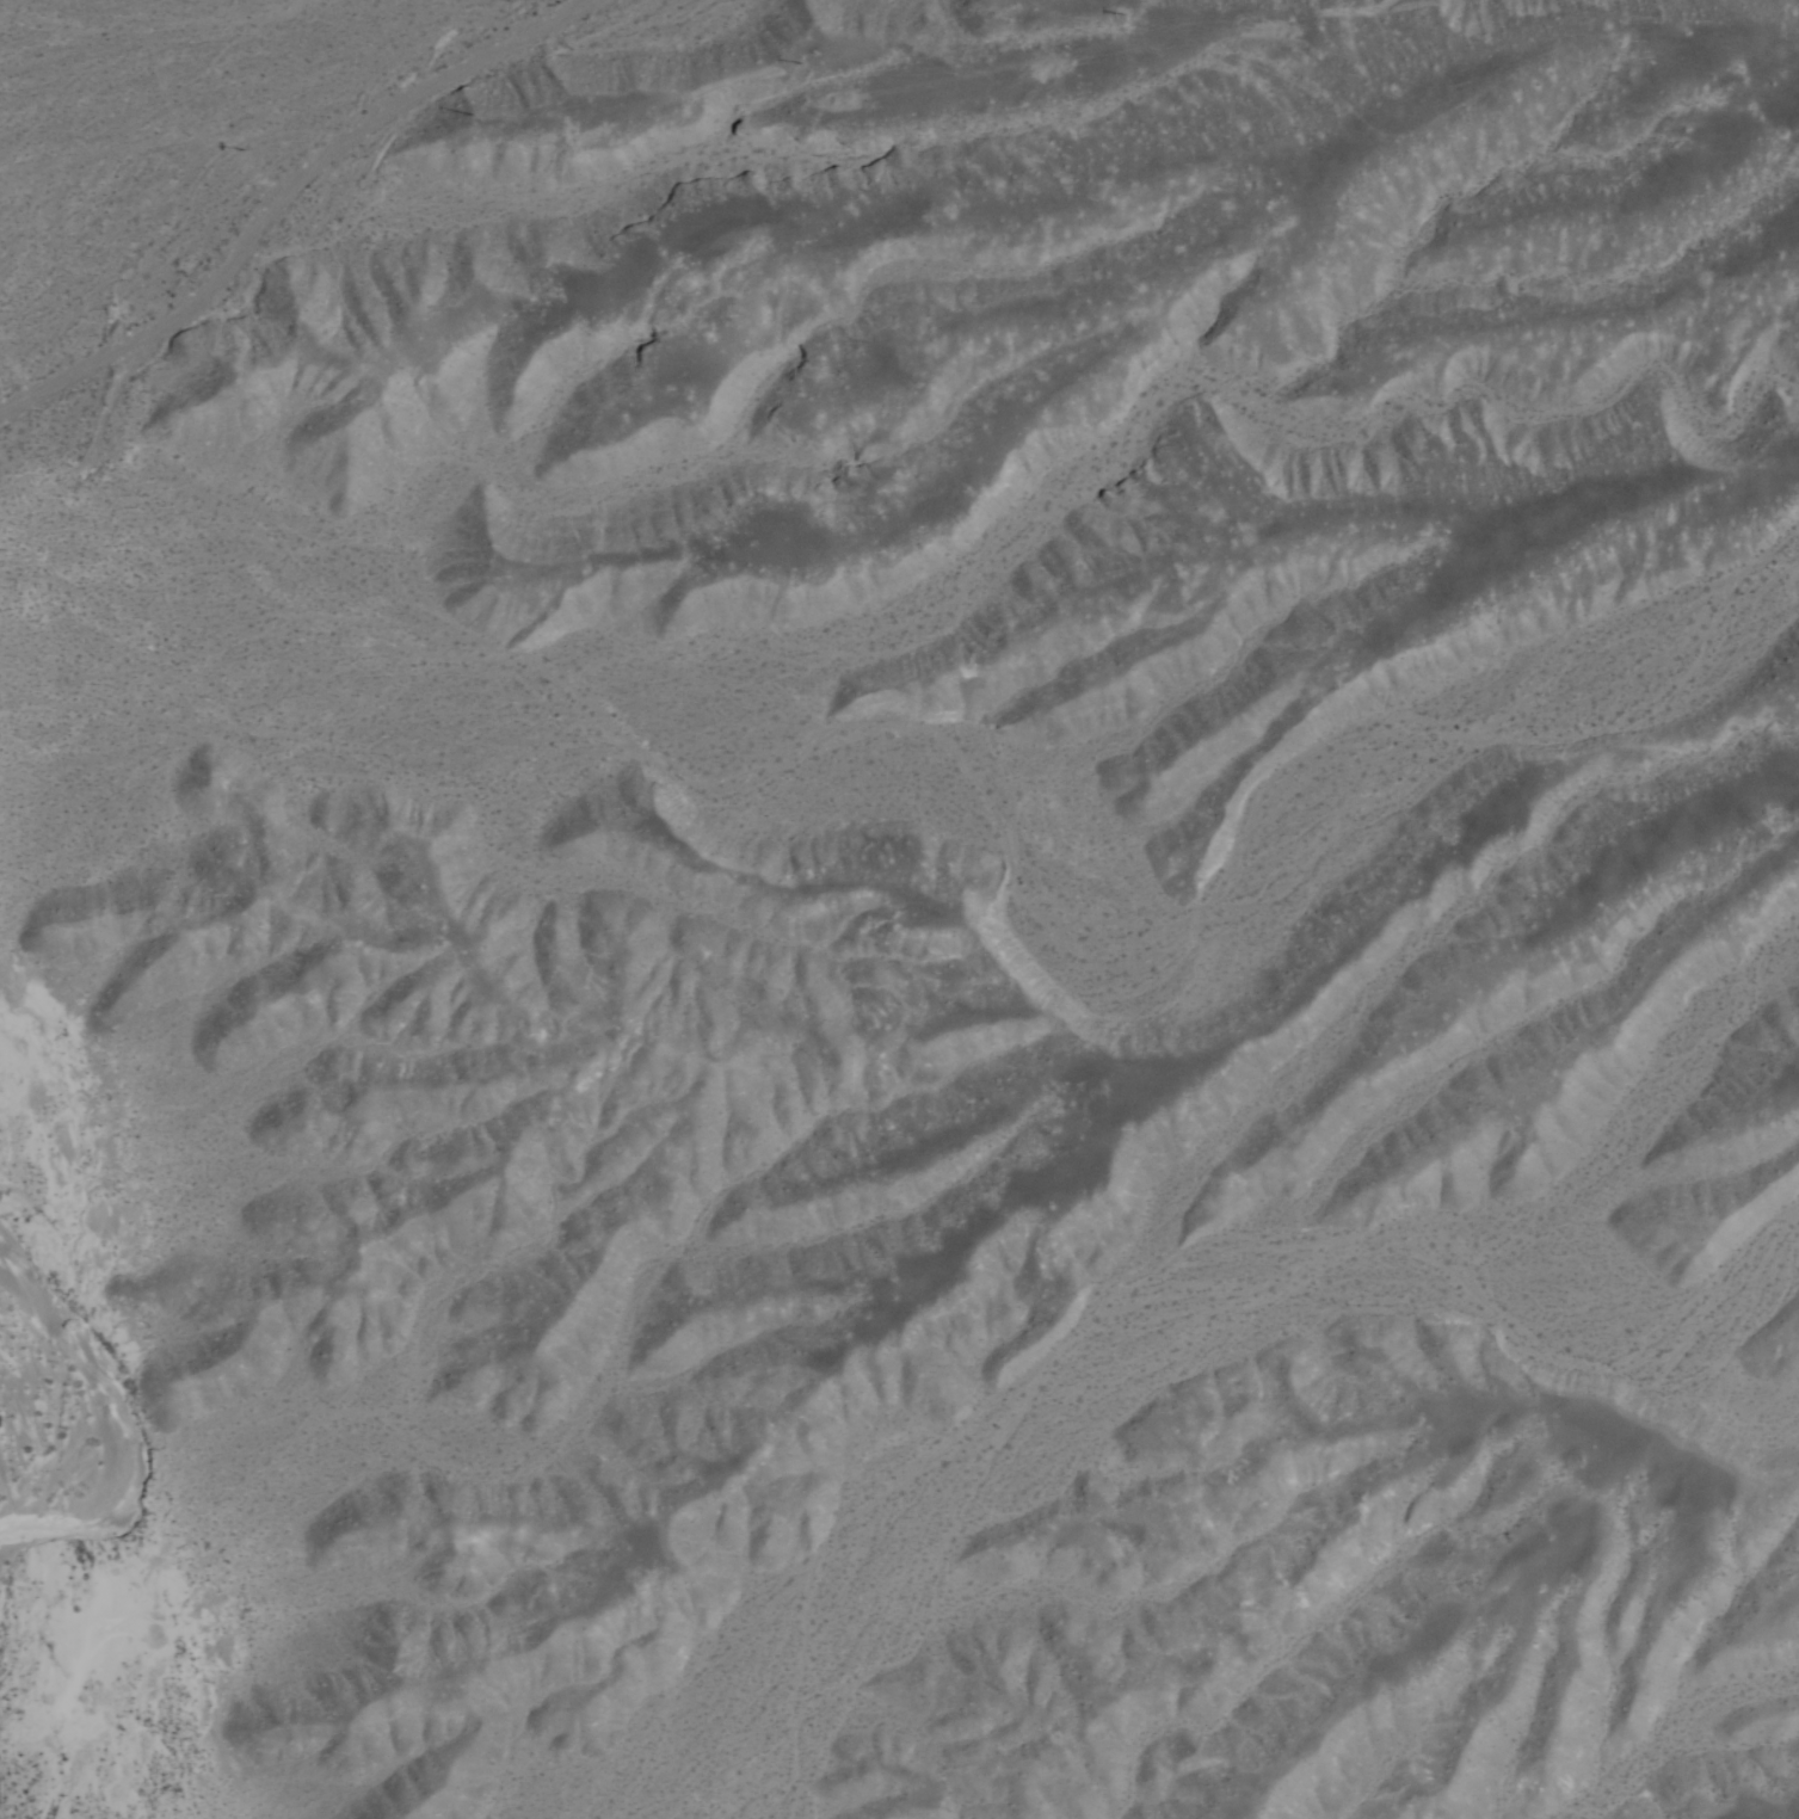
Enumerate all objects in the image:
road: (425, 87)
road: (221, 101)
road: (154, 322)
river: (63, 1500)

